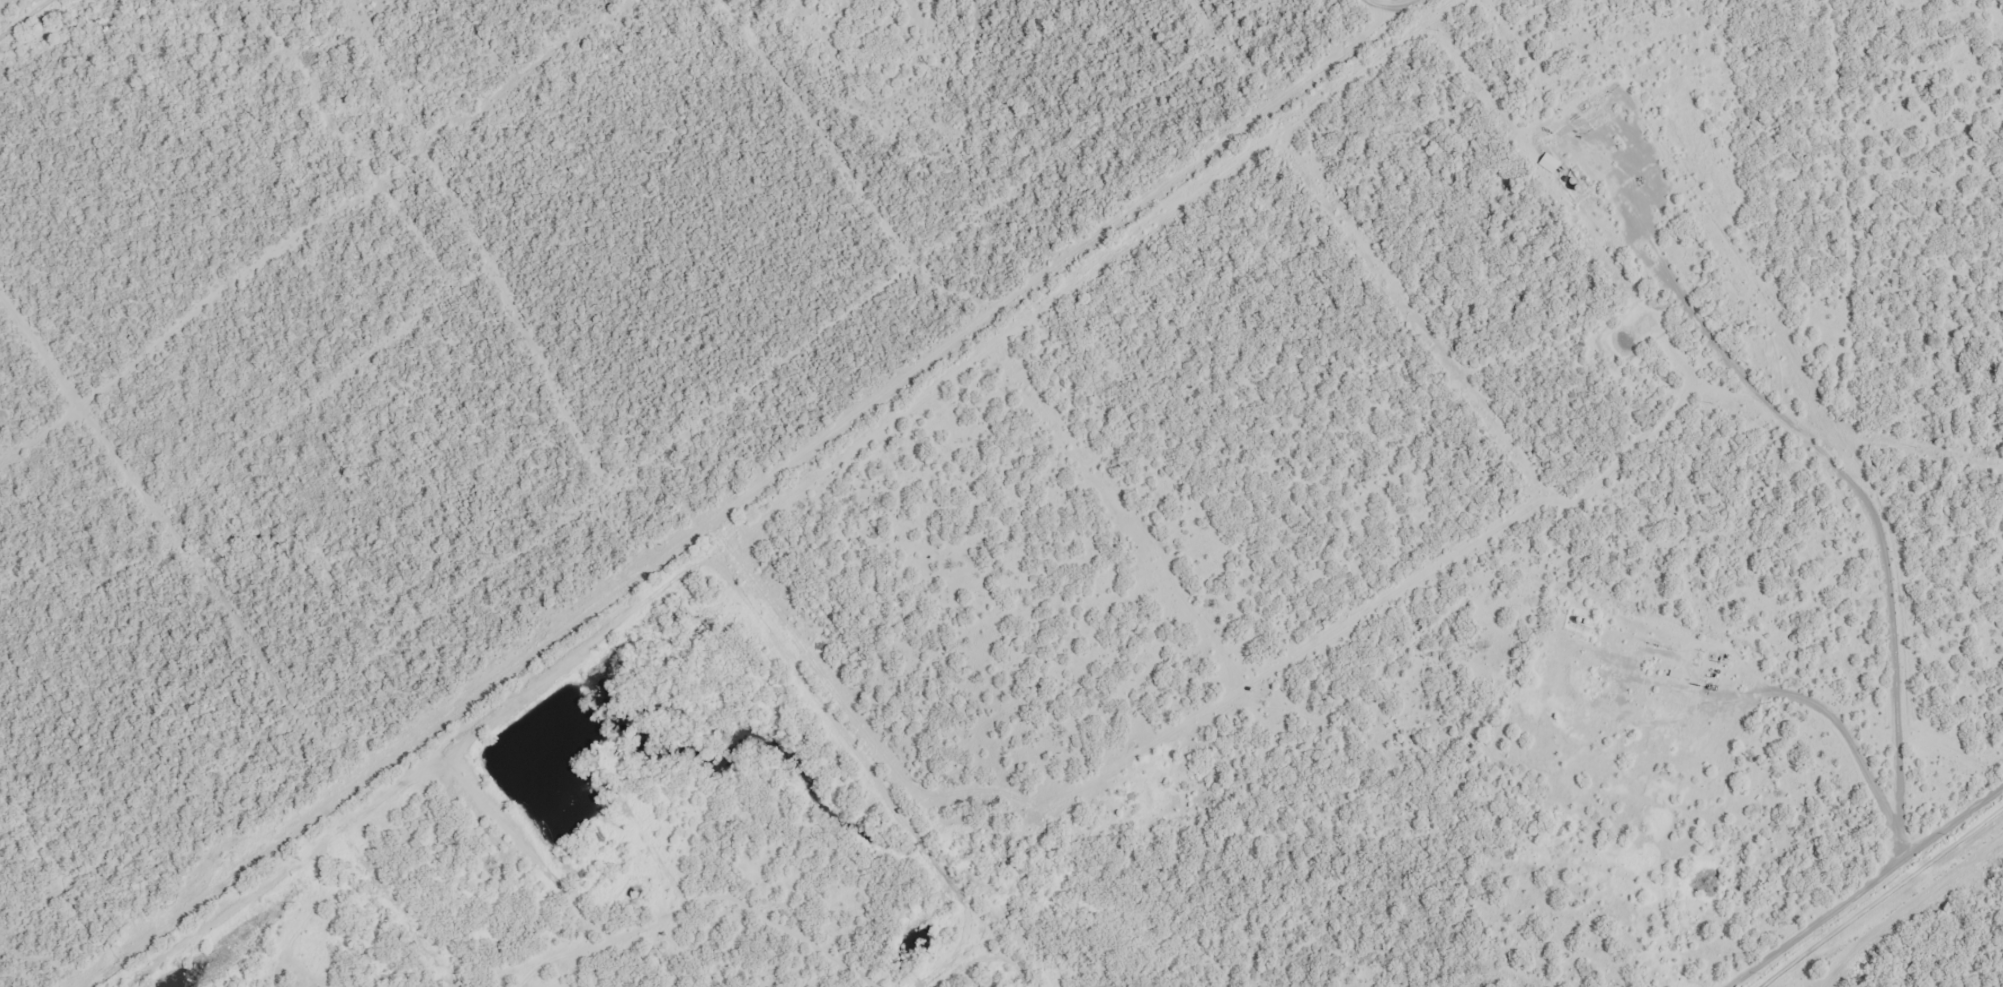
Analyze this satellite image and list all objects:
road: (1885, 901)

